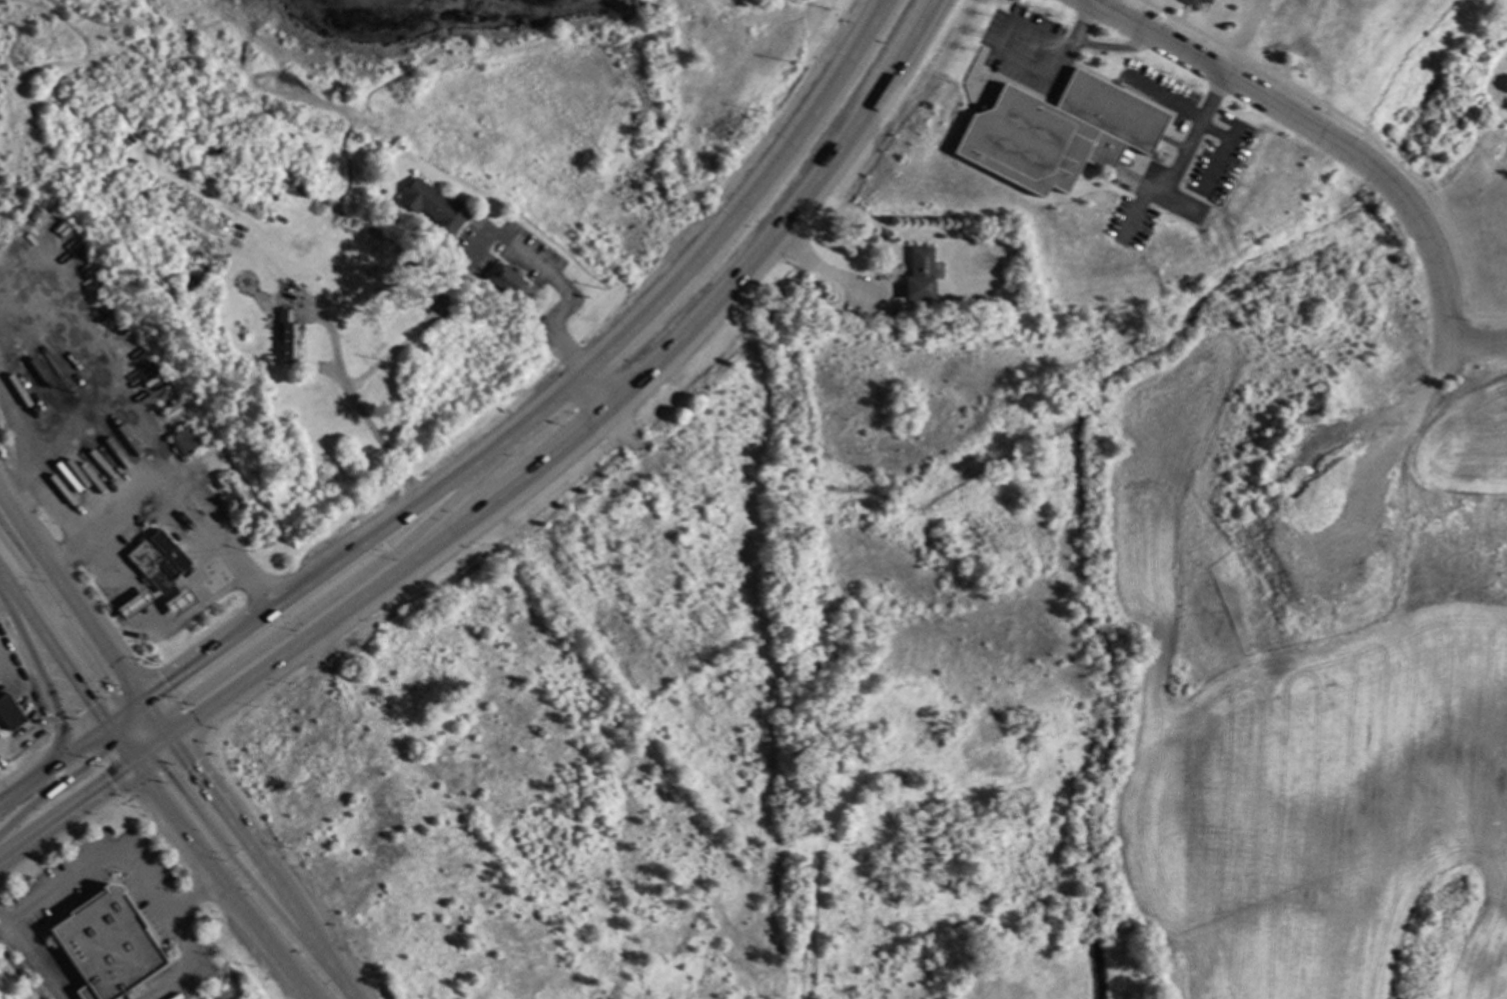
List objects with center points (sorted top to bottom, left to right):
building: (1204, 1)
building: (1189, 2)
road: (1084, 21)
road: (1003, 44)
road: (1114, 46)
parking lot: (1029, 49)
road: (1201, 122)
building: (1057, 133)
road: (1192, 135)
road: (1328, 137)
building: (1158, 157)
building: (434, 206)
building: (1006, 236)
building: (281, 248)
road: (830, 273)
building: (919, 275)
road: (553, 279)
building: (505, 281)
building: (287, 336)
road: (1476, 341)
road: (103, 358)
road: (599, 387)
road: (558, 394)
road: (598, 415)
road: (367, 424)
building: (663, 432)
road: (19, 434)
building: (183, 439)
crop: (1465, 446)
road: (179, 481)
road: (53, 501)
building: (156, 561)
road: (338, 591)
road: (71, 592)
building: (178, 603)
building: (132, 605)
road: (61, 625)
road: (53, 650)
road: (42, 678)
traffic signals: (143, 699)
road: (133, 706)
road: (149, 708)
building: (11, 712)
road: (139, 713)
road: (128, 719)
road: (114, 720)
road: (118, 725)
road: (149, 725)
road: (163, 727)
traffic signals: (106, 728)
road: (132, 728)
road: (138, 729)
road: (156, 734)
road: (134, 735)
road: (140, 735)
road: (112, 736)
traffic signals: (170, 736)
road: (124, 737)
road: (158, 744)
road: (142, 745)
road: (75, 747)
building: (883, 748)
road: (134, 751)
road: (124, 754)
road: (139, 758)
traffic signals: (131, 764)
crop: (1300, 764)
road: (22, 783)
road: (55, 786)
road: (64, 809)
road: (91, 864)
road: (266, 866)
road: (247, 878)
road: (219, 881)
road: (178, 935)
building: (107, 944)
road: (30, 958)

